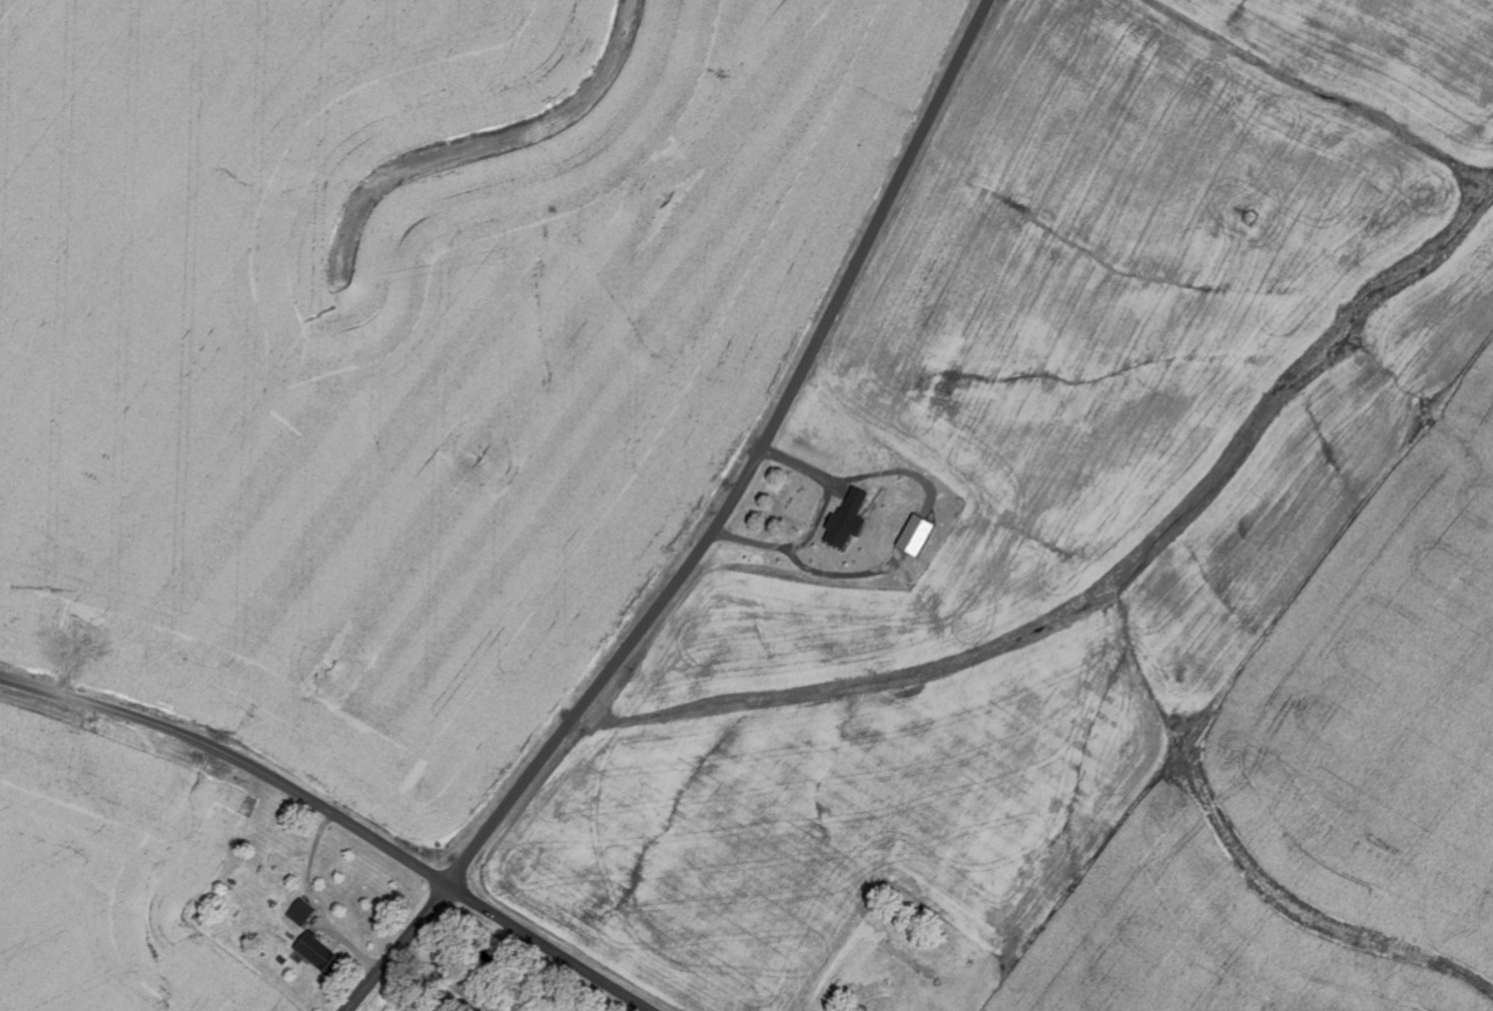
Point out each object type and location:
road: (751, 463)
building: (810, 502)
building: (849, 520)
building: (918, 535)
road: (337, 817)
building: (303, 914)
road: (399, 949)
building: (320, 954)

